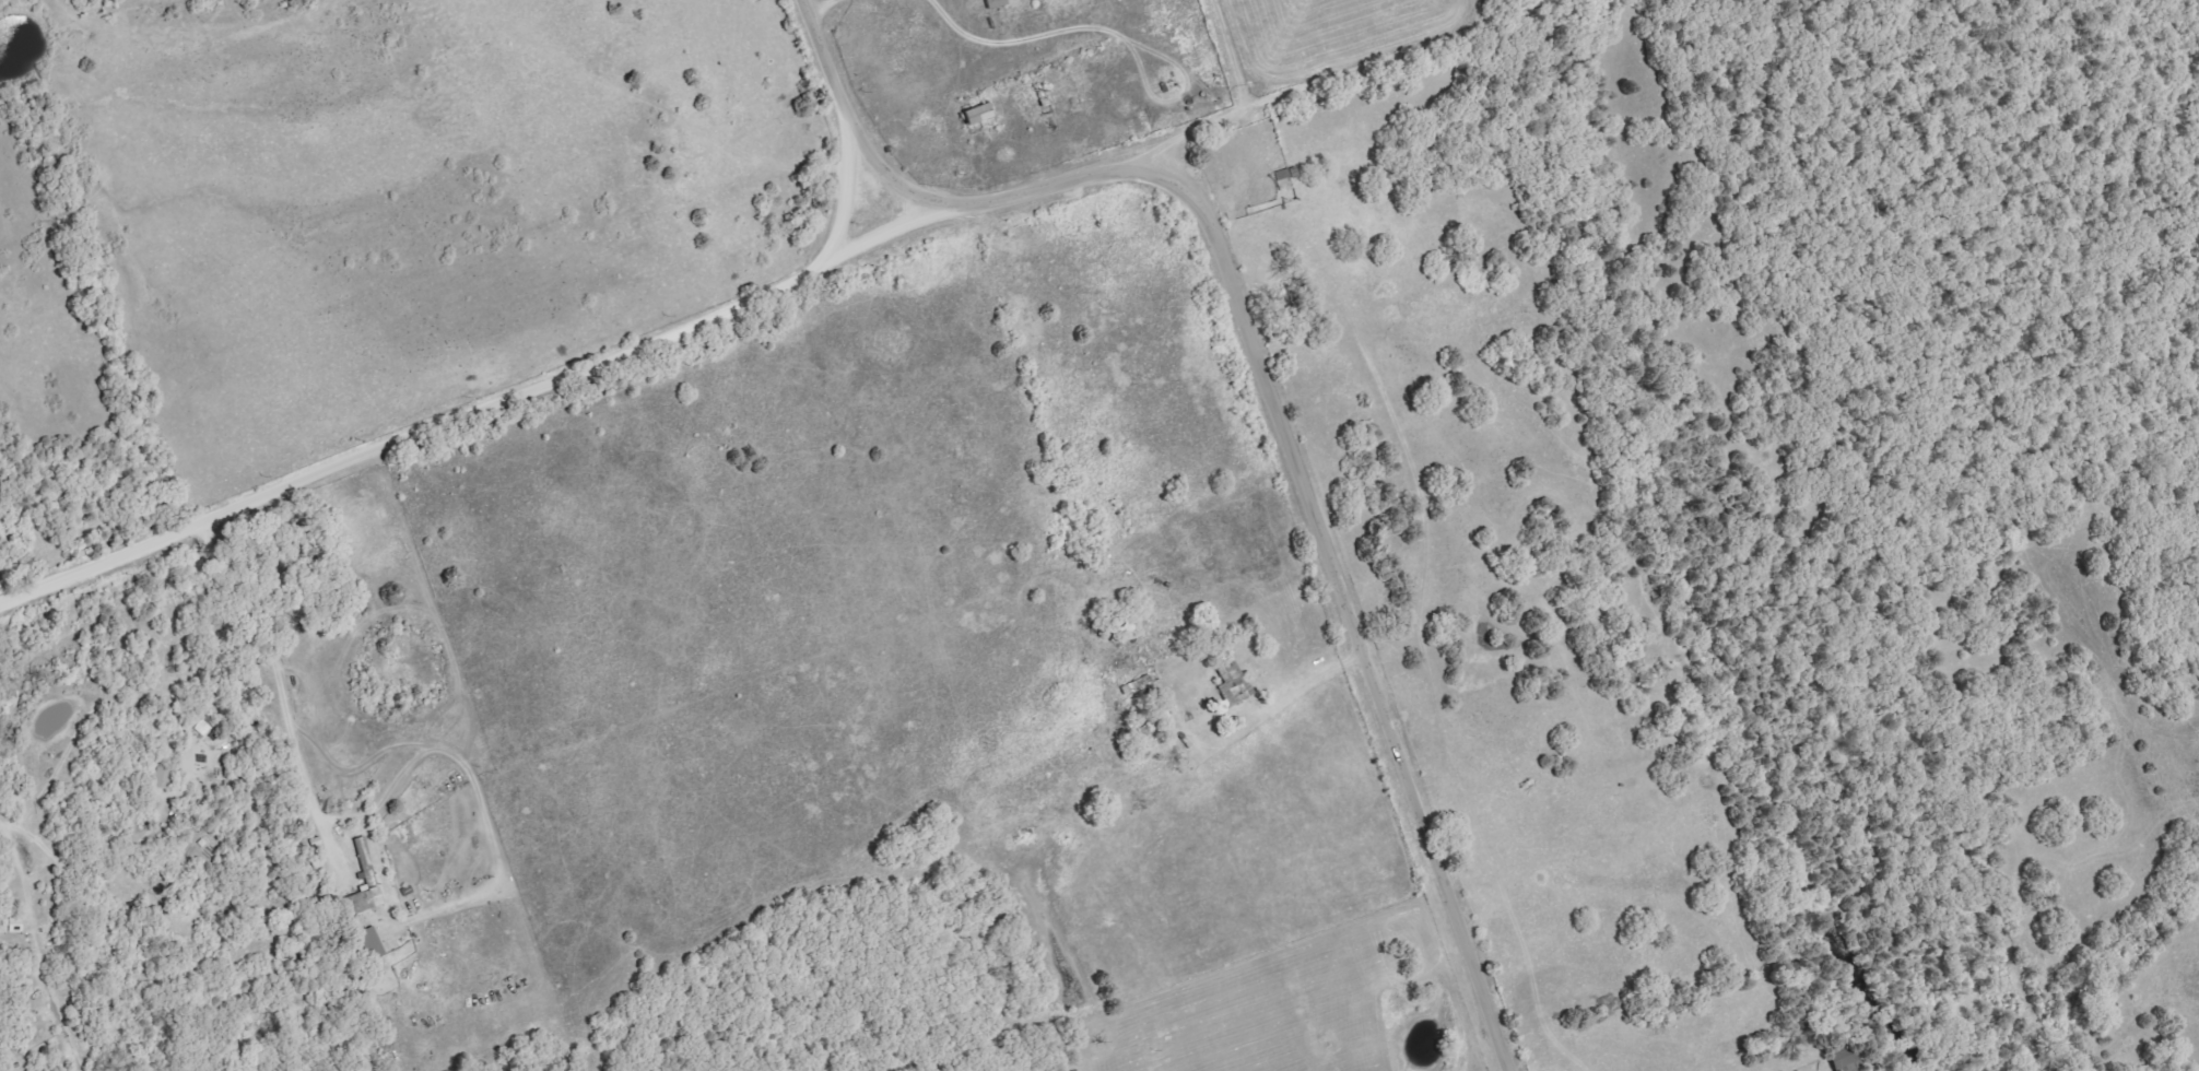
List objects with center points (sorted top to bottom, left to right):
building: (998, 3)
road: (1236, 73)
road: (1434, 90)
building: (980, 114)
road: (840, 214)
road: (880, 242)
road: (1266, 385)
road: (409, 436)
road: (279, 682)
building: (1236, 685)
building: (164, 777)
road: (92, 866)
building: (366, 882)
building: (16, 925)
building: (374, 944)
building: (1847, 1059)

